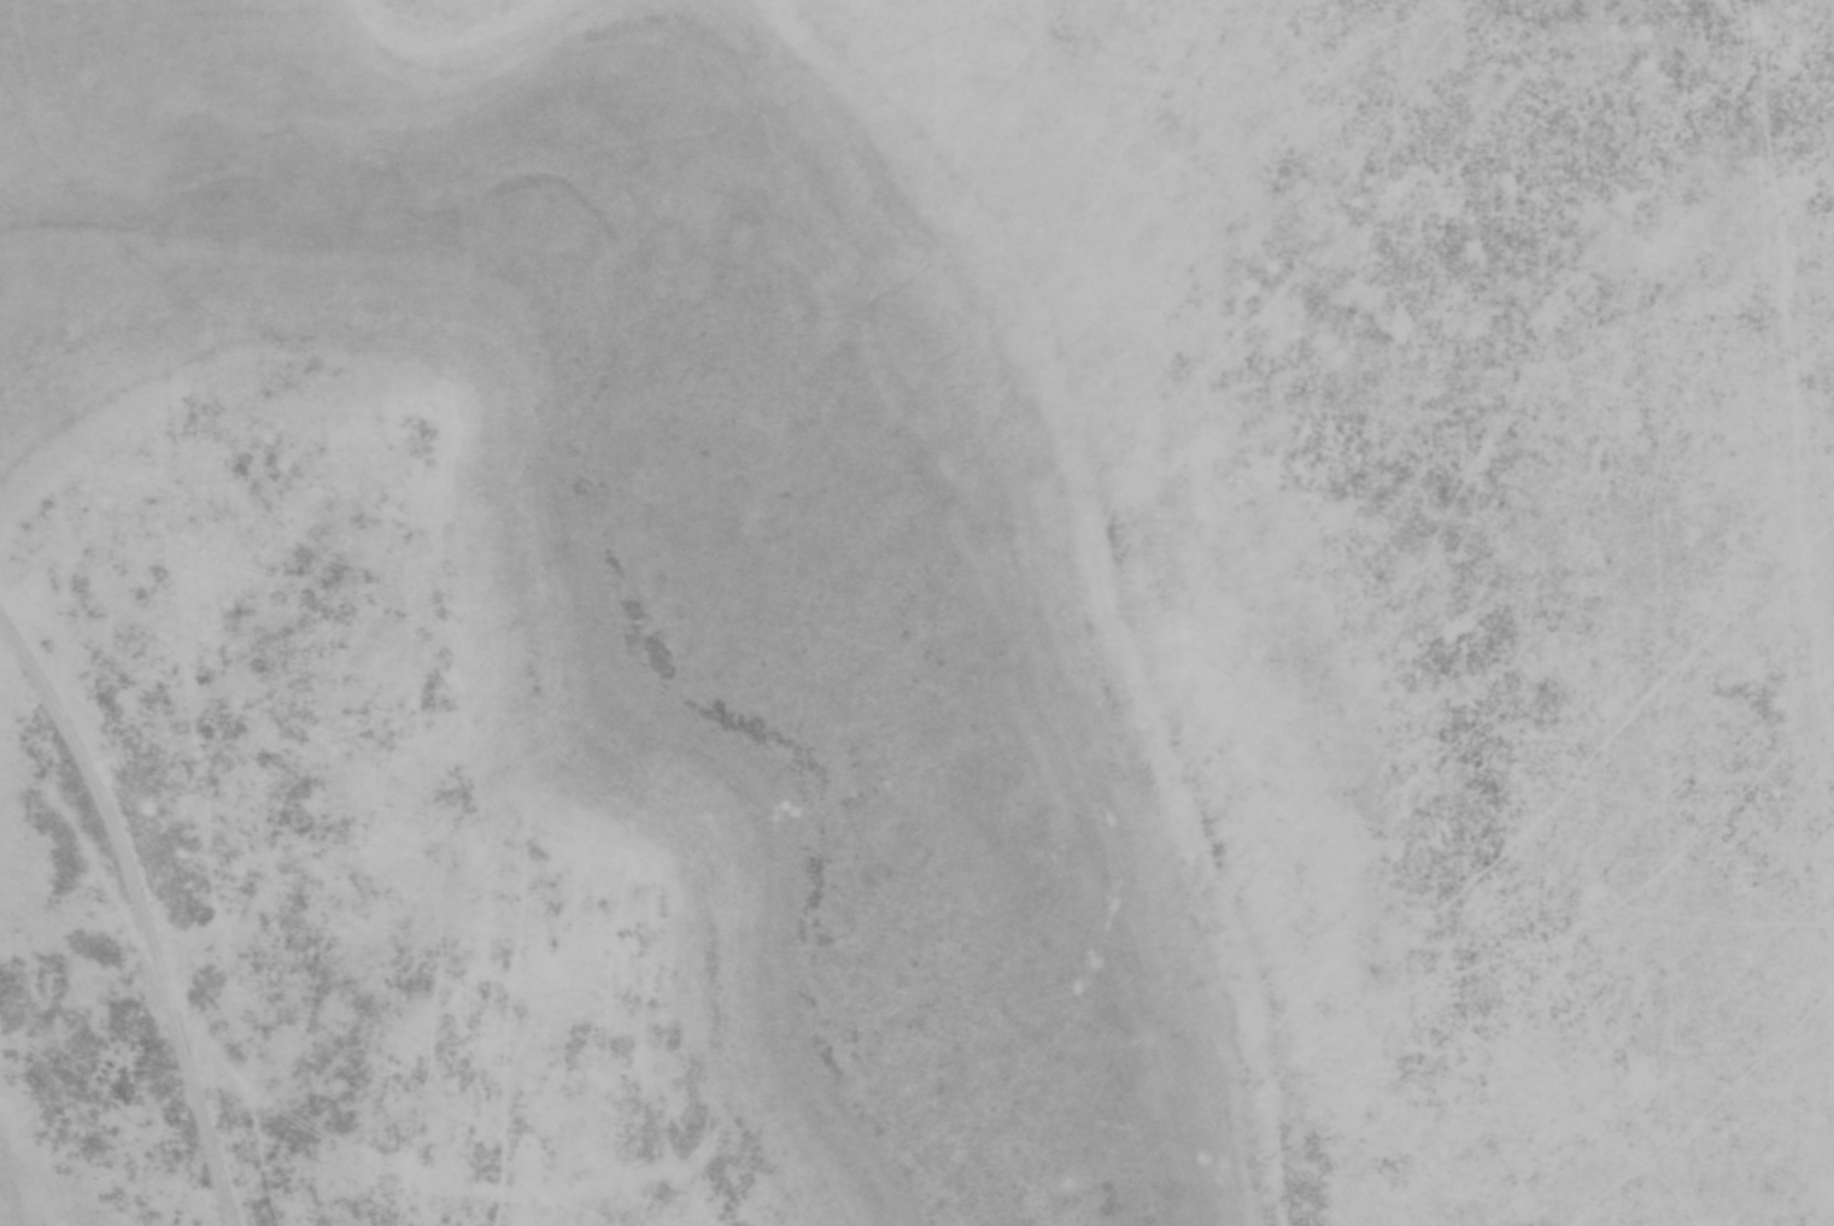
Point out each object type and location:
road: (136, 923)

